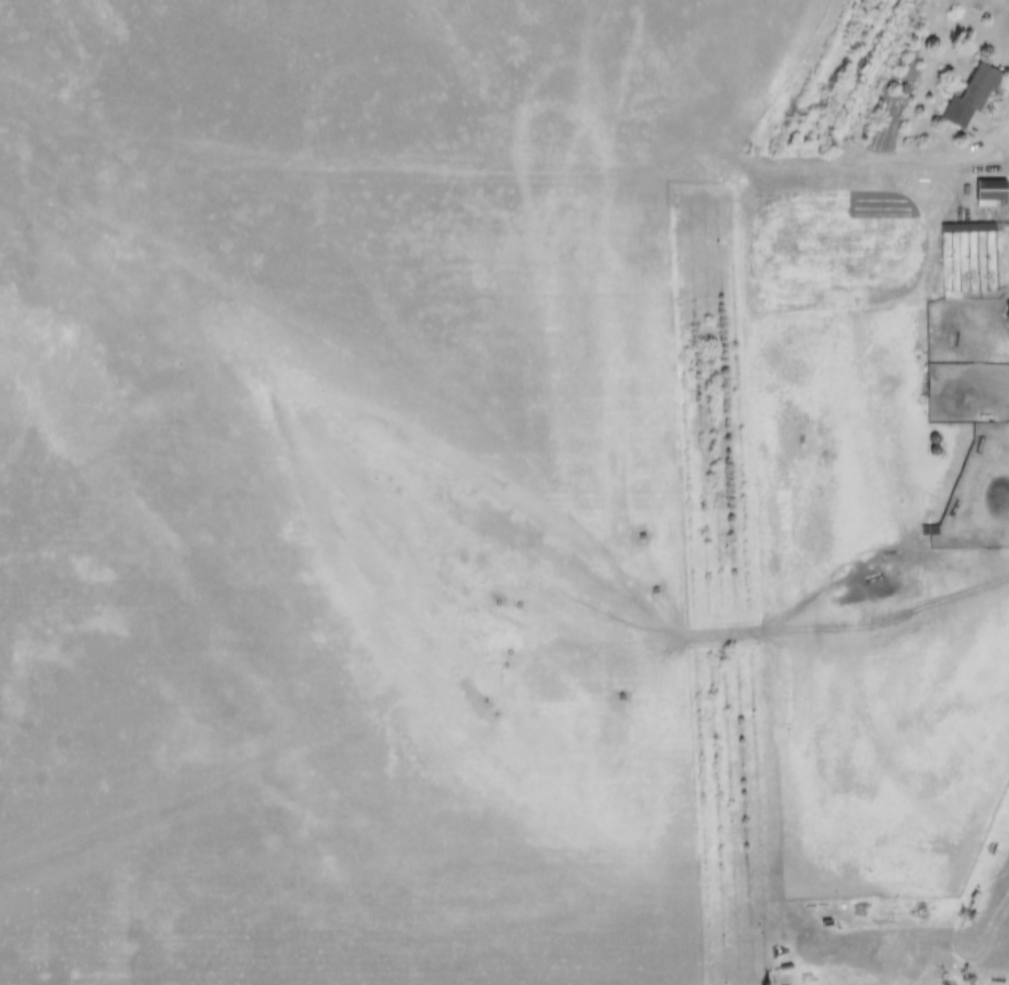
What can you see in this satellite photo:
building: (963, 90)
road: (1004, 143)
road: (855, 166)
building: (983, 184)
building: (1004, 305)

